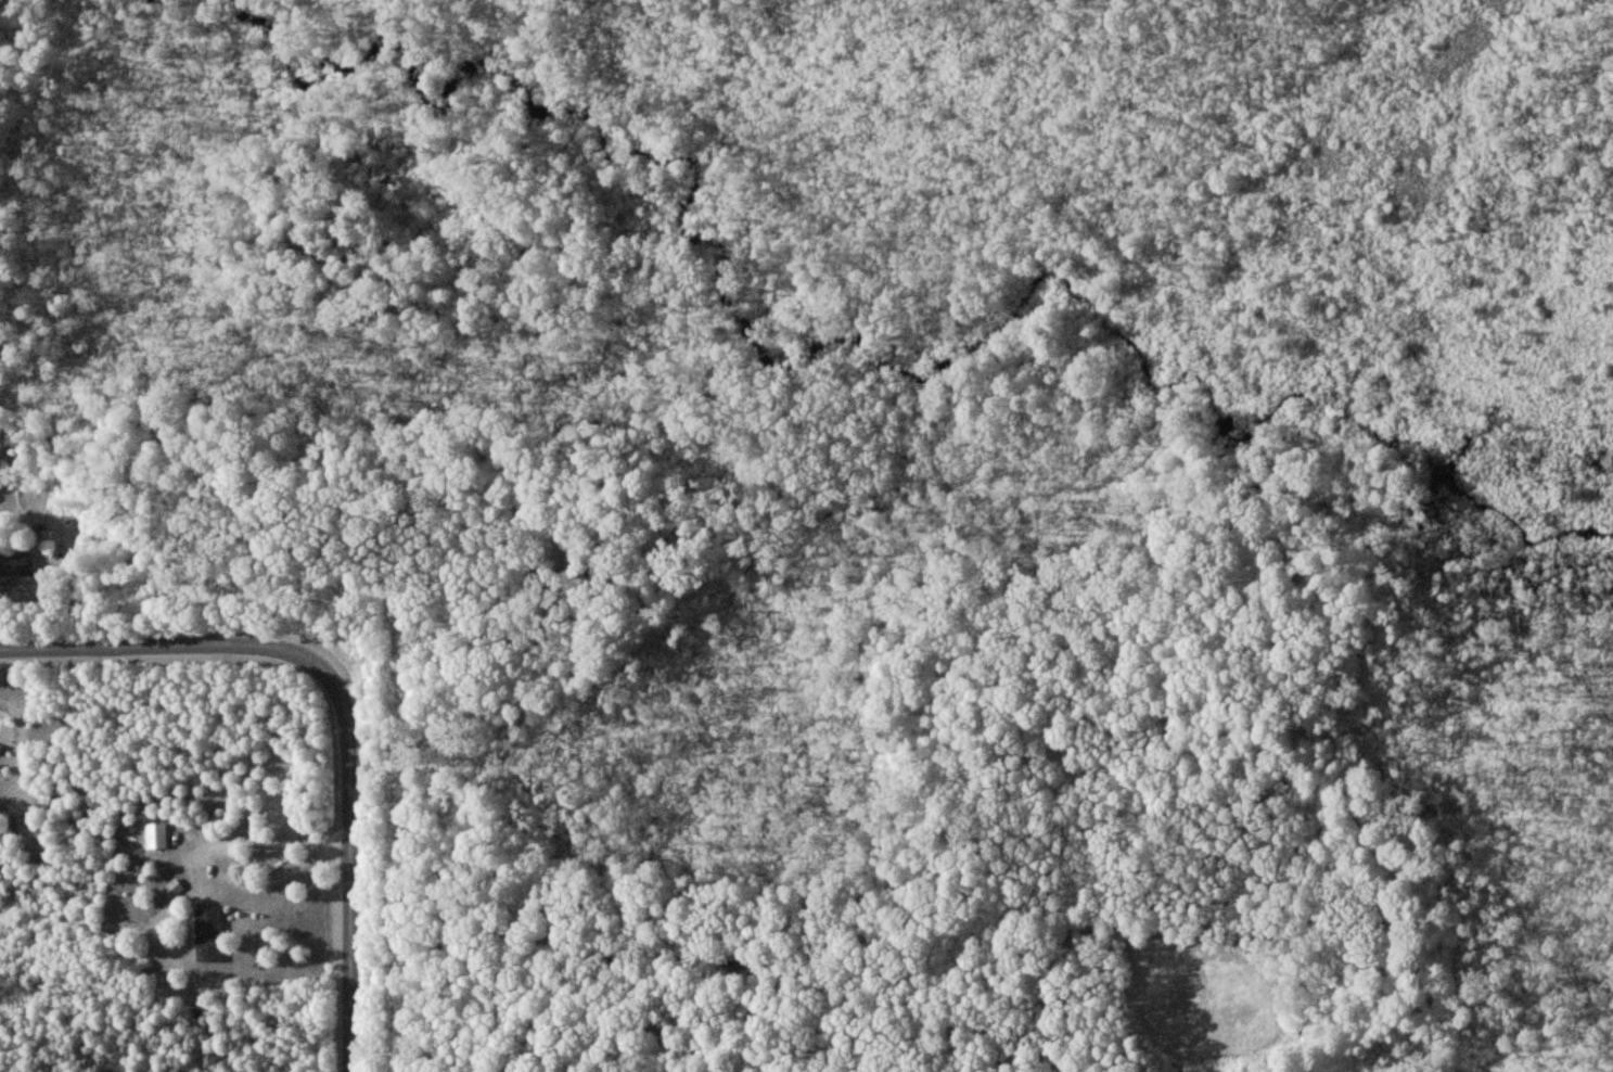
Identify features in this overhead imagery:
building: (16, 565)
road: (139, 649)
building: (0, 744)
building: (155, 835)
road: (350, 840)
building: (207, 935)

